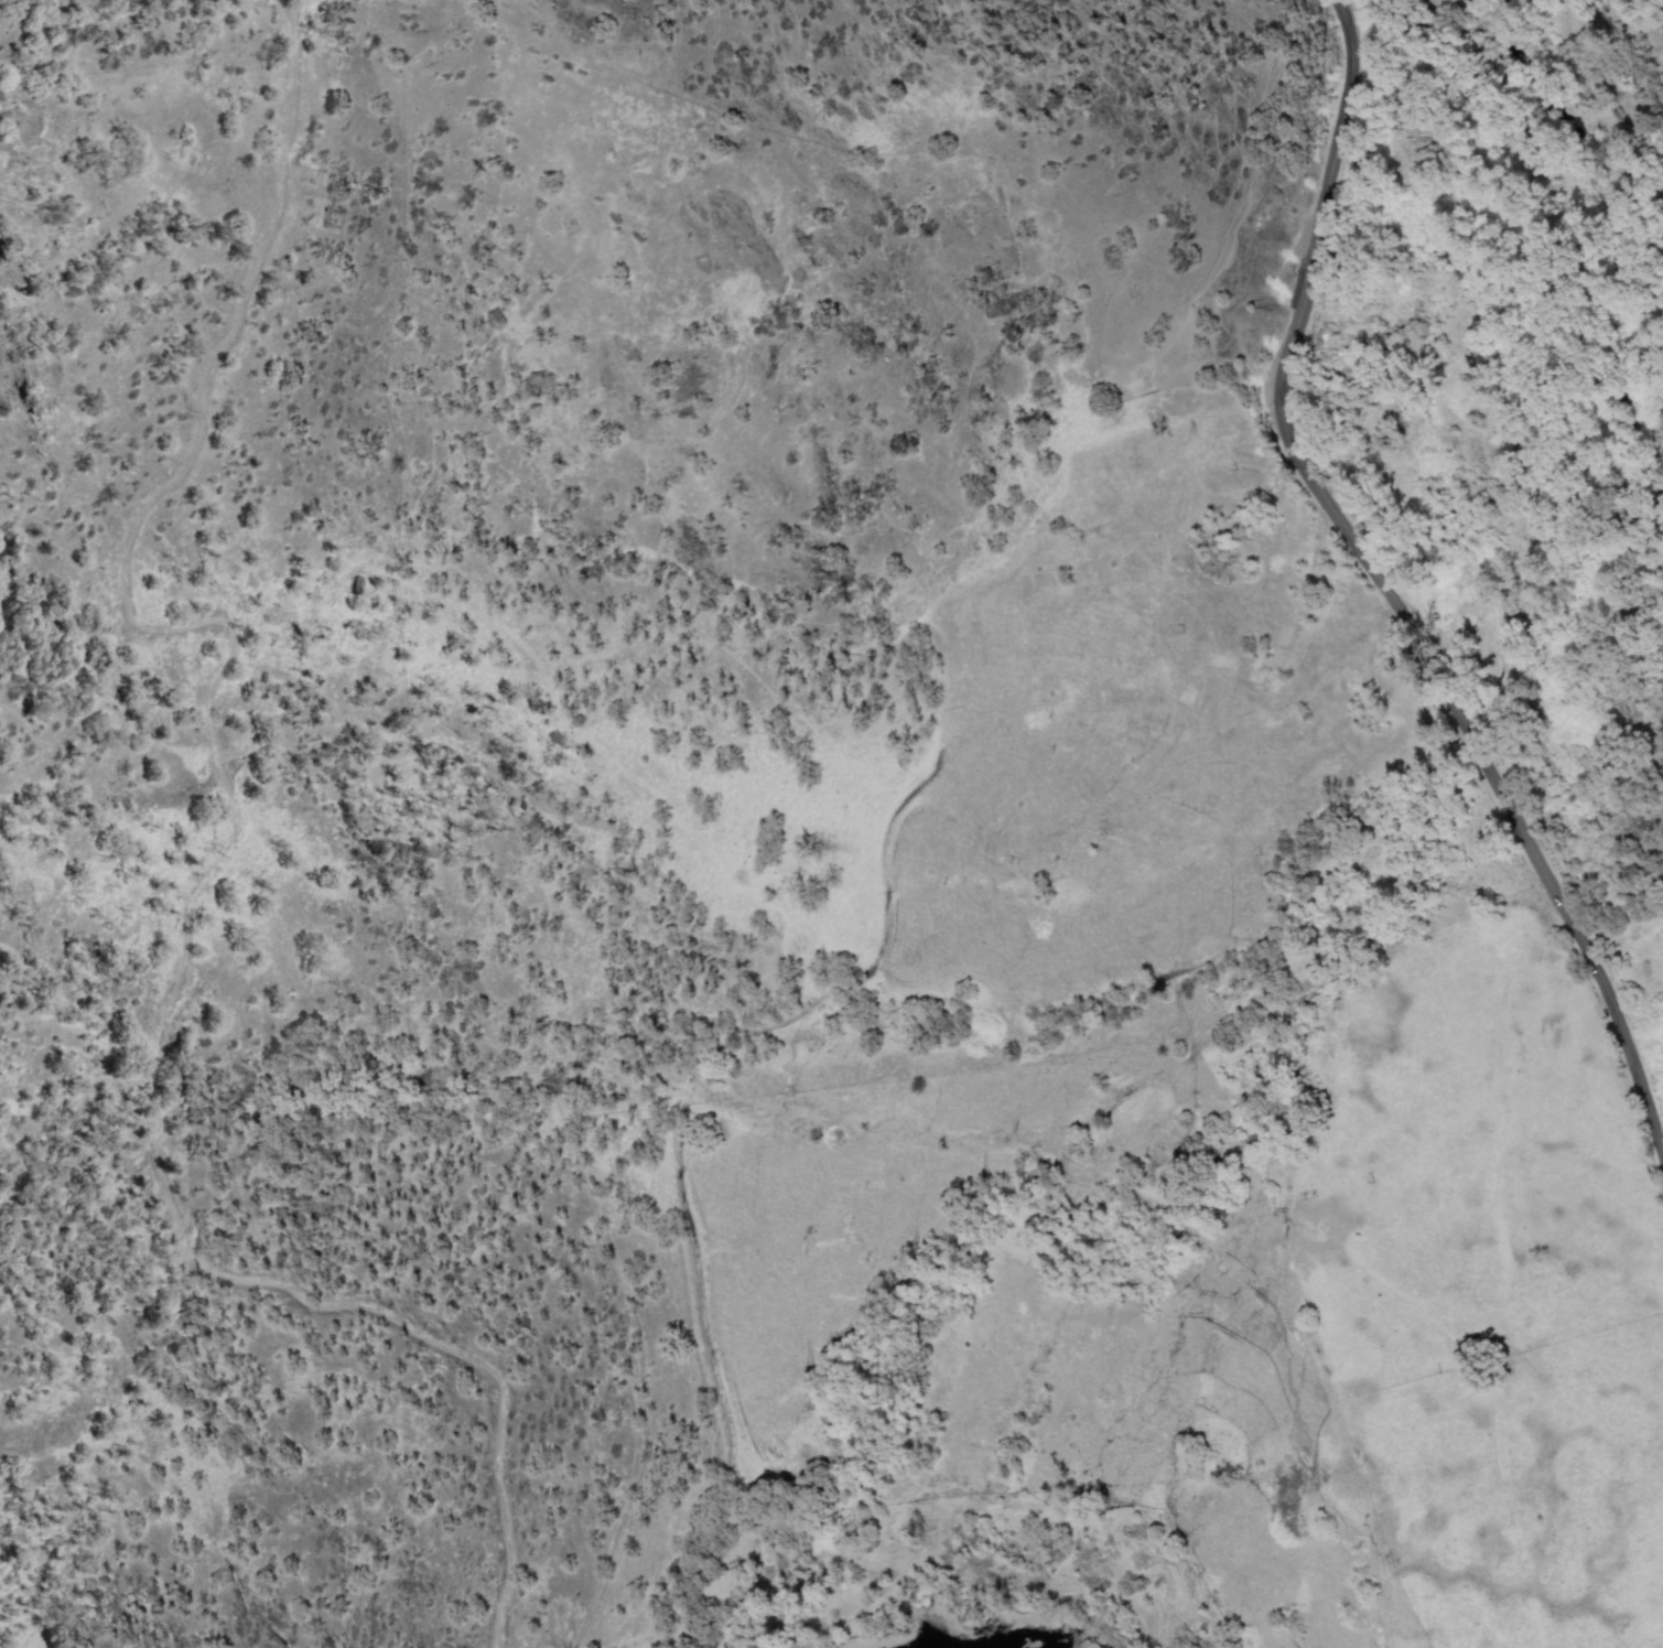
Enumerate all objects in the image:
road: (1381, 593)

